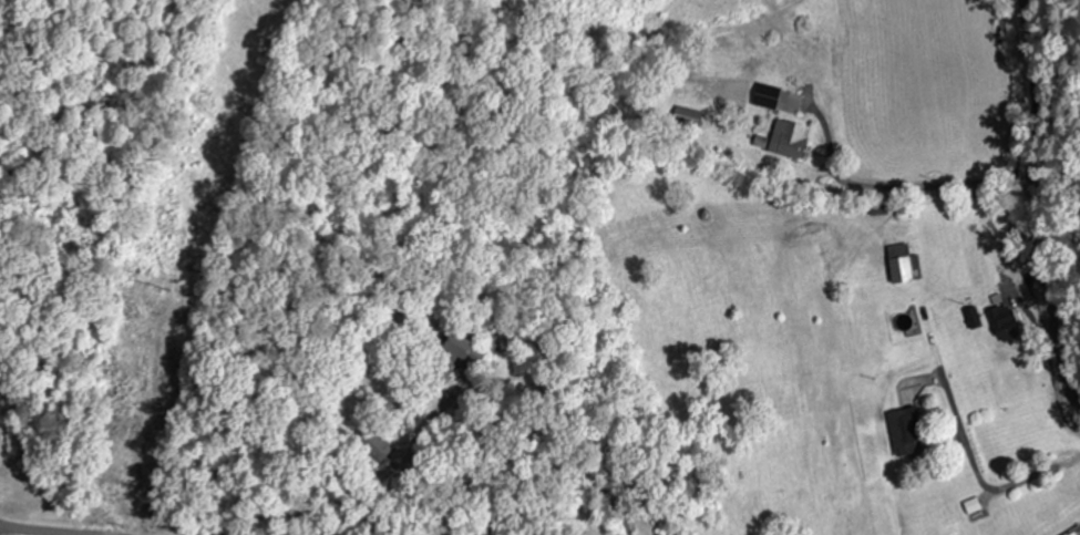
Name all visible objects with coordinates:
road: (1016, 215)
building: (899, 267)
building: (1004, 322)
building: (902, 431)
road: (20, 532)

